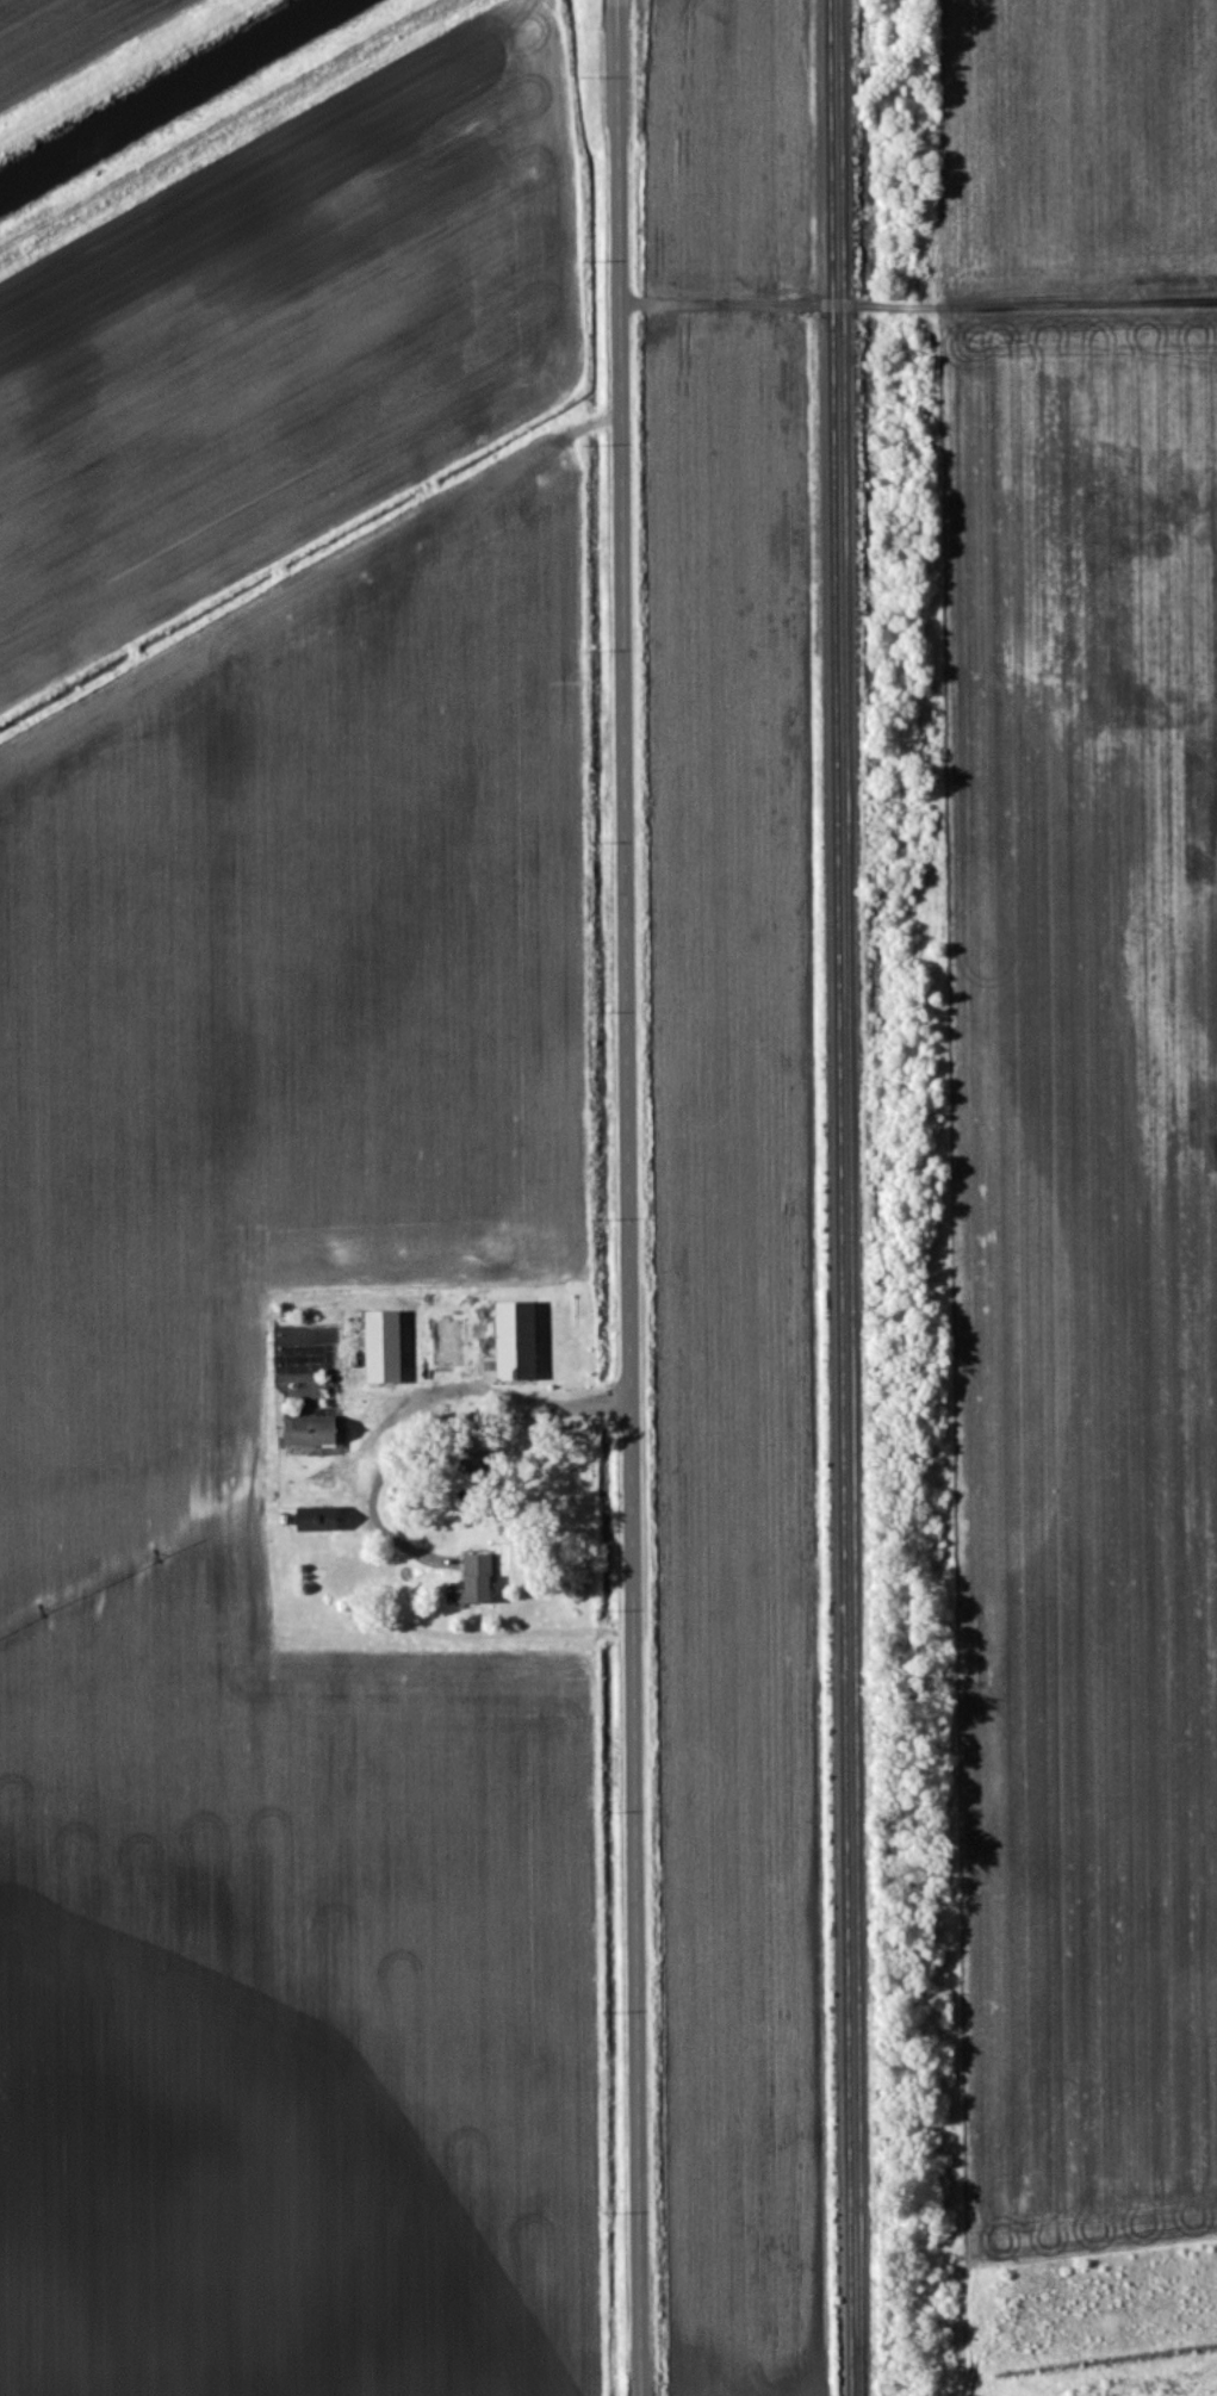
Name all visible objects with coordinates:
road: (923, 288)
road: (634, 1197)
railway: (859, 1197)
railway: (847, 1198)
building: (510, 1333)
building: (383, 1347)
road: (418, 1407)
building: (319, 1429)
building: (476, 1576)

